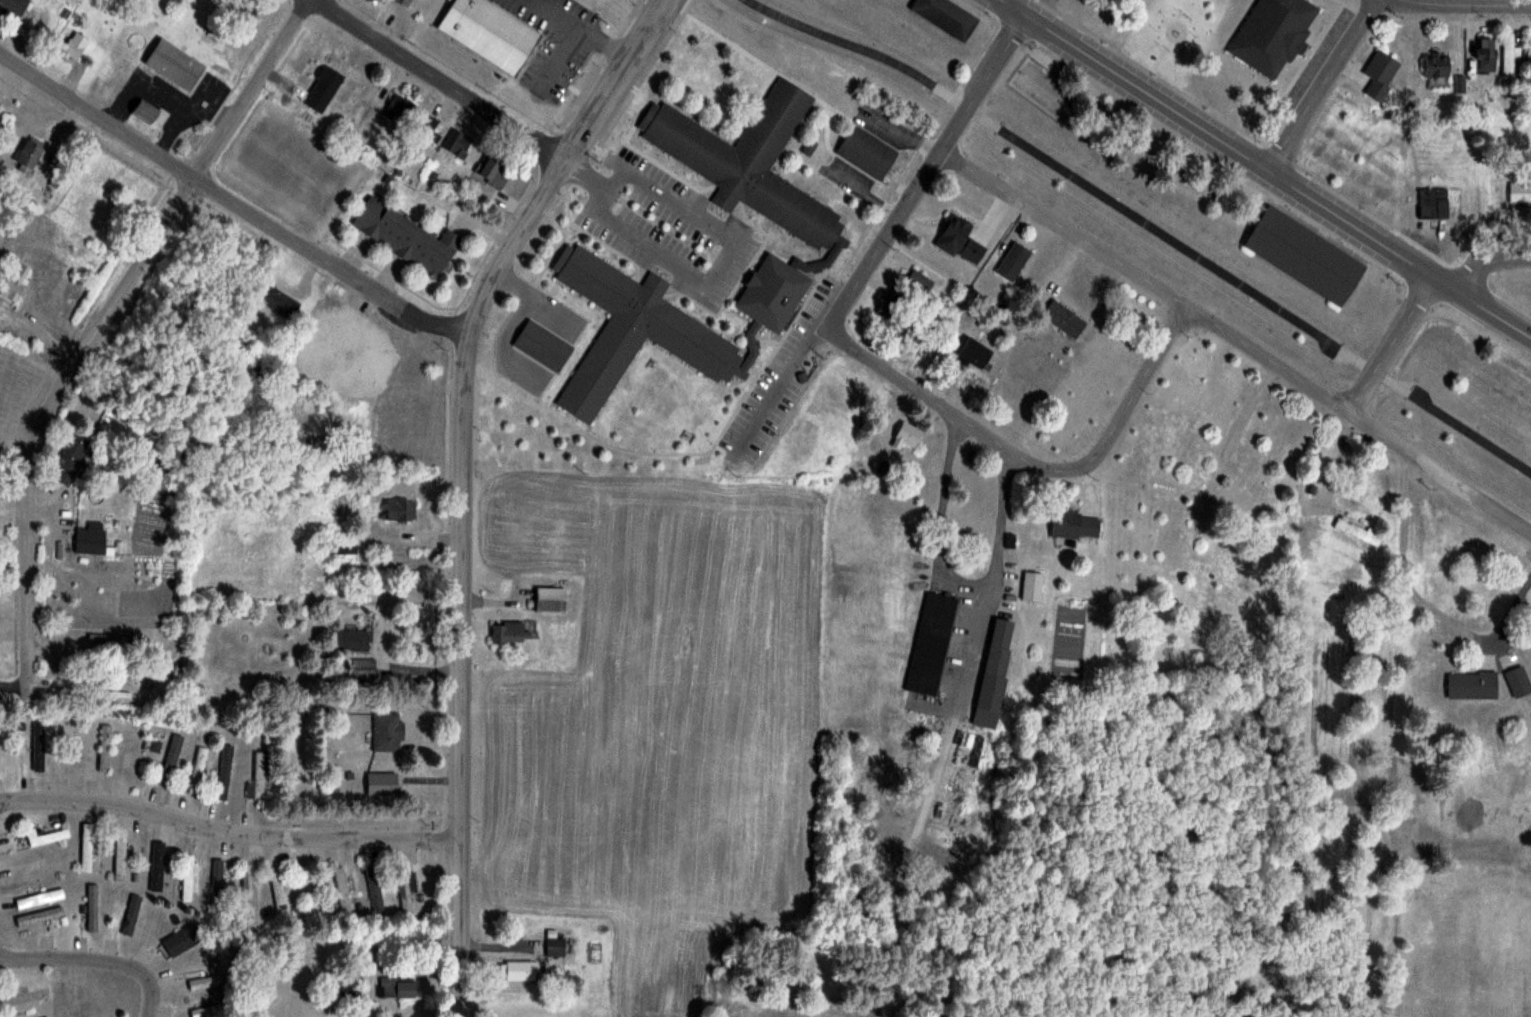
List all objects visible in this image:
building: (401, 2)
road: (1474, 4)
building: (13, 6)
building: (946, 16)
building: (1273, 33)
building: (491, 34)
building: (74, 46)
building: (1487, 54)
building: (1508, 54)
building: (174, 64)
building: (1436, 64)
building: (1380, 66)
road: (442, 79)
road: (1321, 85)
building: (398, 108)
building: (144, 111)
building: (428, 132)
road: (903, 133)
road: (1217, 138)
building: (460, 145)
building: (867, 151)
building: (29, 153)
road: (926, 171)
building: (493, 173)
road: (866, 192)
building: (1519, 192)
road: (230, 201)
building: (1433, 203)
road: (1146, 224)
building: (405, 237)
road: (735, 239)
building: (959, 240)
building: (830, 248)
building: (1304, 256)
road: (1488, 259)
building: (1013, 261)
road: (1144, 278)
building: (16, 282)
building: (918, 283)
road: (534, 297)
building: (276, 300)
road: (1482, 305)
building: (891, 310)
building: (1064, 319)
road: (97, 326)
road: (504, 340)
road: (1389, 343)
building: (542, 345)
building: (1195, 364)
building: (989, 375)
road: (1134, 390)
road: (461, 392)
road: (948, 410)
building: (907, 434)
building: (70, 458)
road: (1438, 471)
building: (399, 511)
building: (1074, 525)
building: (1358, 530)
building: (89, 541)
building: (342, 549)
road: (958, 581)
building: (1032, 586)
building: (549, 598)
building: (507, 632)
building: (350, 640)
building: (930, 643)
building: (998, 647)
building: (363, 668)
building: (1471, 685)
building: (387, 732)
building: (30, 742)
building: (69, 744)
building: (104, 747)
building: (223, 771)
building: (259, 773)
building: (381, 782)
road: (227, 830)
building: (46, 836)
building: (120, 858)
building: (157, 865)
building: (189, 879)
building: (217, 886)
building: (405, 888)
building: (279, 890)
building: (247, 891)
building: (342, 891)
building: (374, 891)
road: (458, 928)
building: (181, 940)
building: (552, 948)
road: (96, 959)
building: (519, 970)
building: (208, 981)
building: (396, 987)
building: (25, 997)

